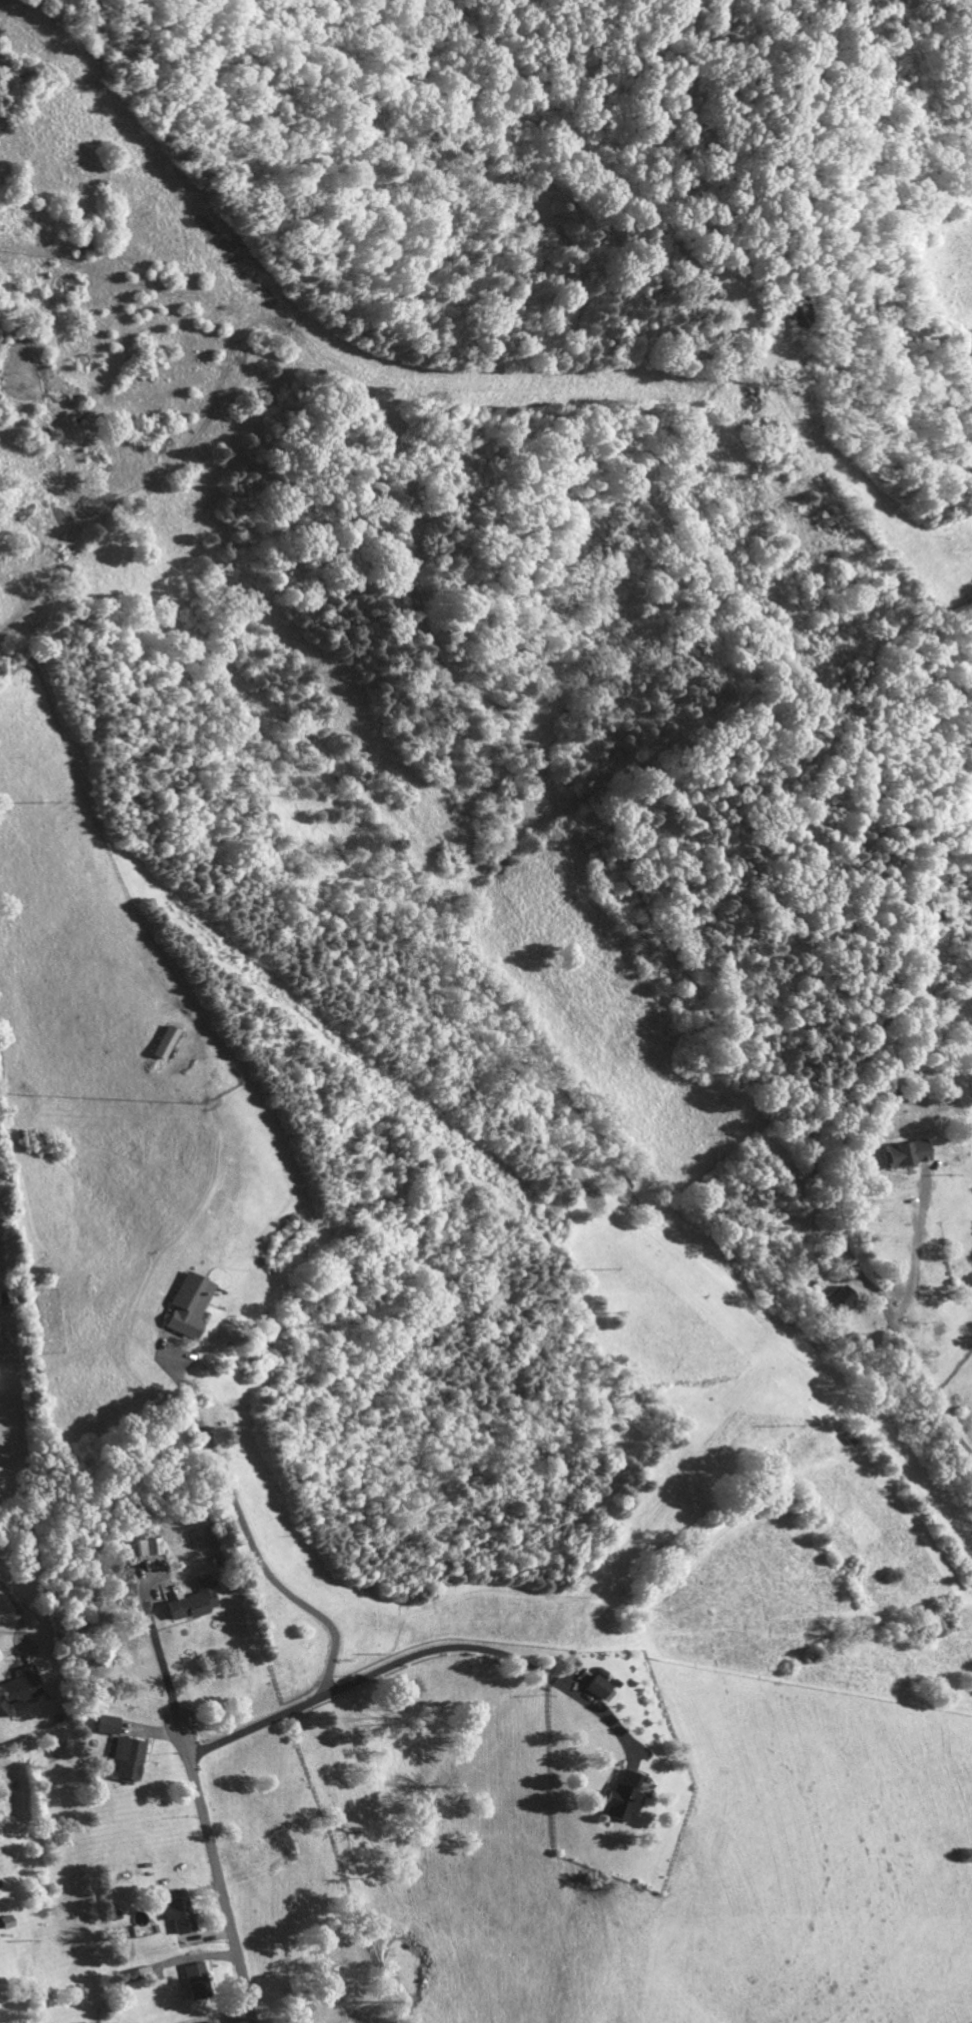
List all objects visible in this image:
road: (281, 490)
building: (161, 1041)
building: (906, 1153)
road: (835, 1224)
building: (185, 1303)
road: (248, 1540)
building: (148, 1545)
building: (190, 1600)
road: (18, 1610)
road: (157, 1647)
road: (412, 1655)
building: (17, 1689)
building: (107, 1723)
building: (127, 1756)
building: (620, 1795)
road: (218, 1869)
building: (178, 1909)
building: (129, 1975)
building: (195, 1979)
building: (208, 2021)

